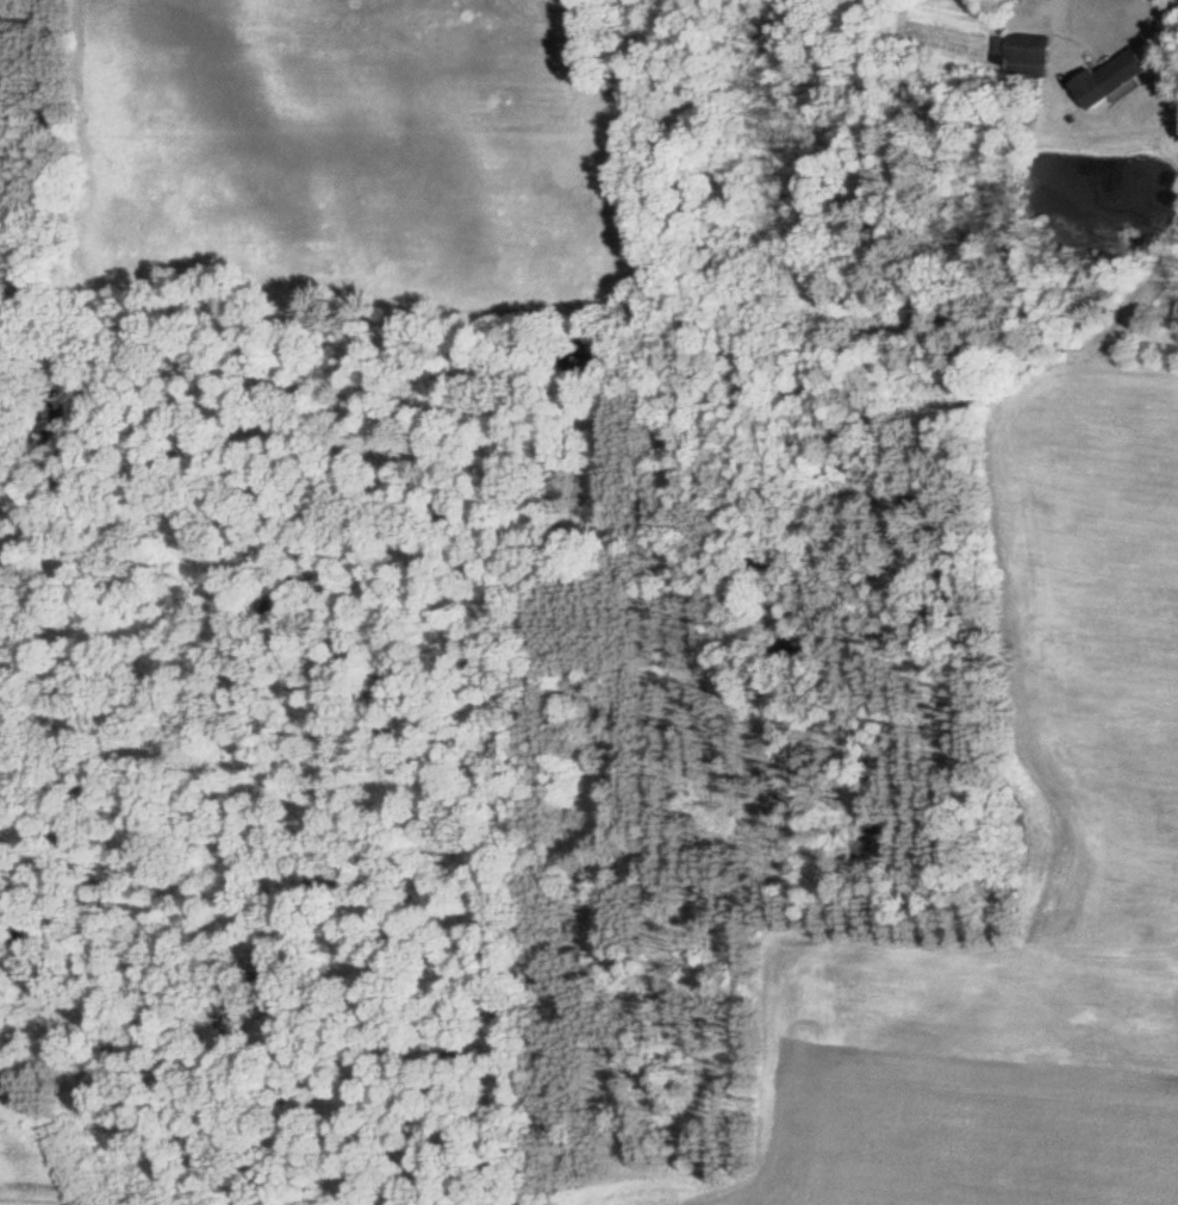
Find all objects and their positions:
building: (1022, 51)
building: (1110, 76)

